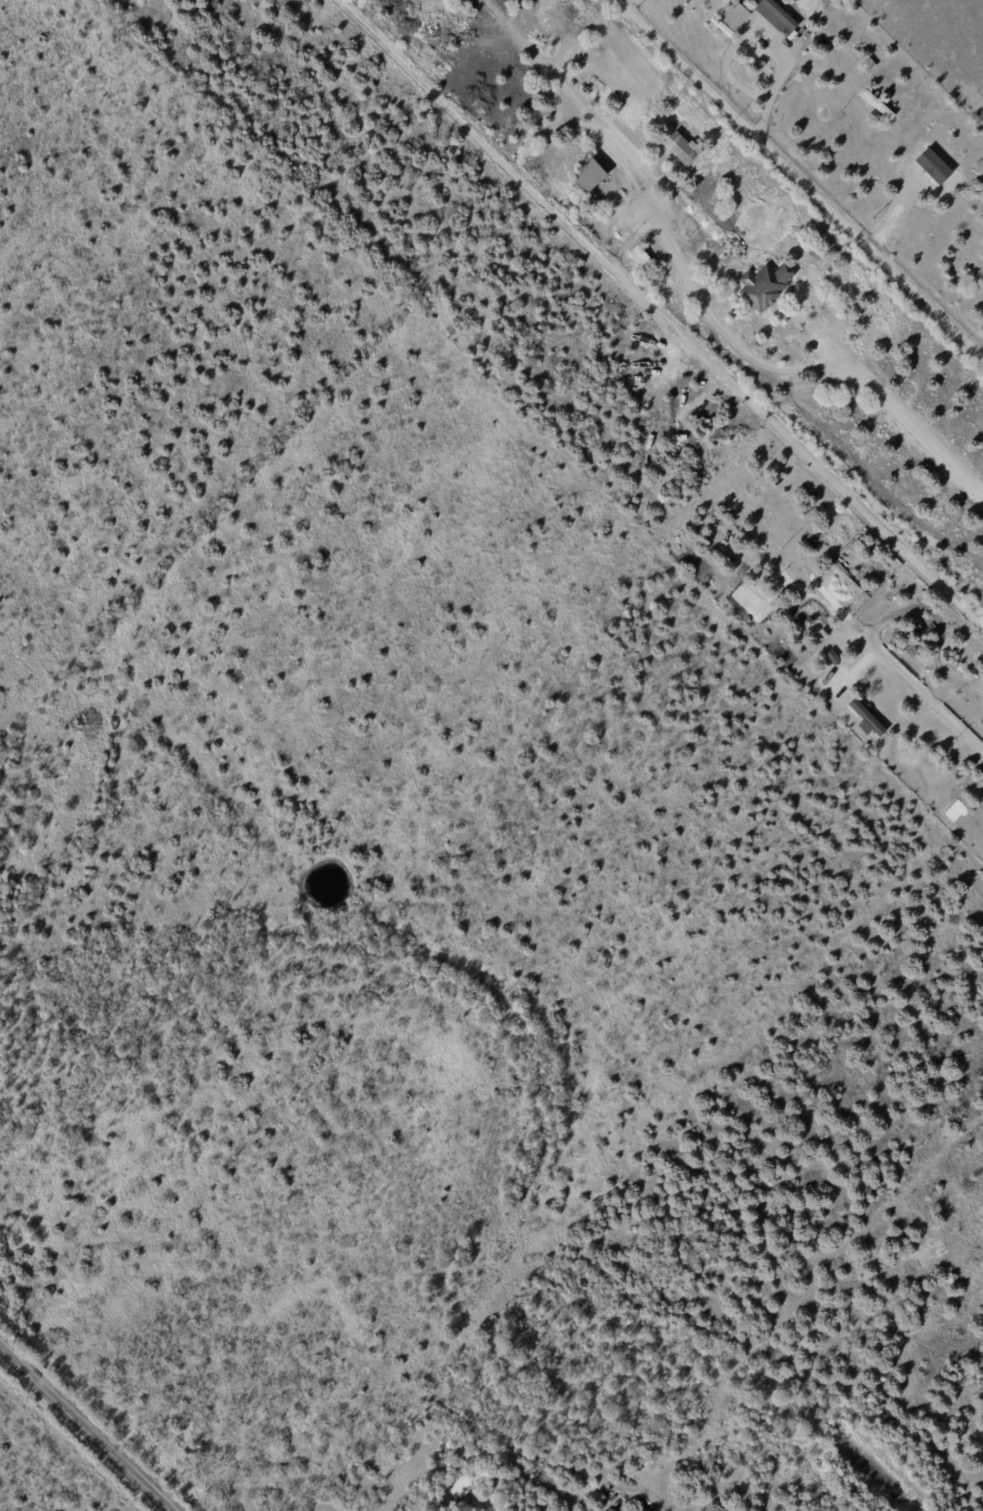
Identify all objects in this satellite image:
building: (736, 17)
building: (780, 18)
building: (818, 31)
building: (869, 66)
road: (689, 70)
building: (557, 110)
building: (682, 148)
building: (554, 164)
building: (937, 167)
building: (587, 176)
building: (575, 192)
building: (597, 216)
road: (840, 222)
building: (640, 259)
building: (765, 286)
road: (665, 309)
road: (746, 357)
road: (921, 690)
building: (870, 720)
building: (73, 1142)
building: (927, 1258)
building: (827, 1395)
road: (84, 1429)
building: (692, 1437)
building: (684, 1438)
building: (679, 1440)

